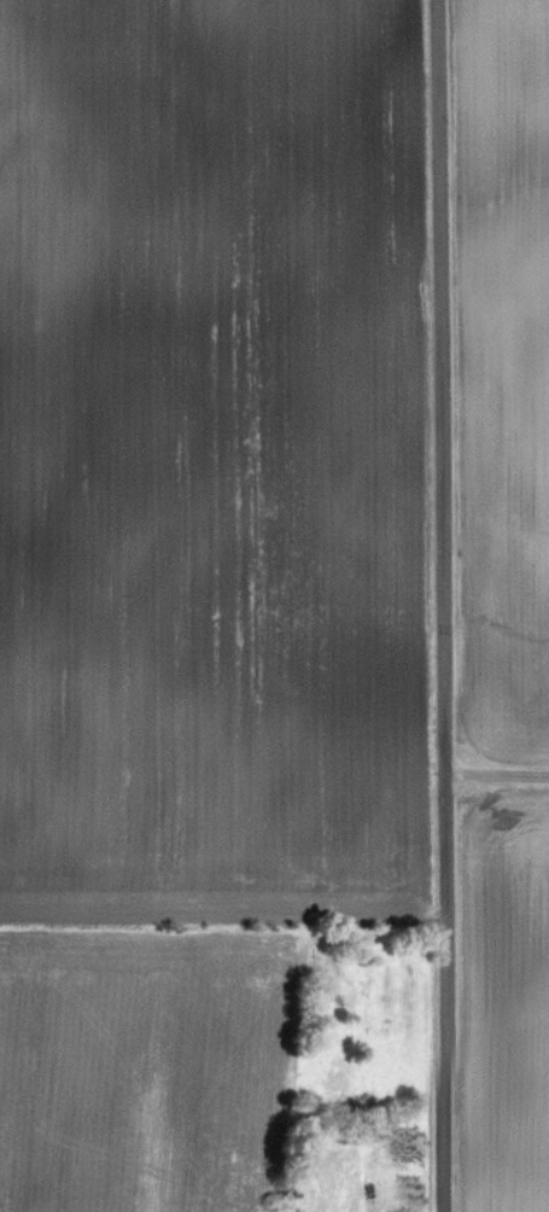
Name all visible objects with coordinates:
road: (444, 605)
road: (497, 768)
building: (384, 1208)

